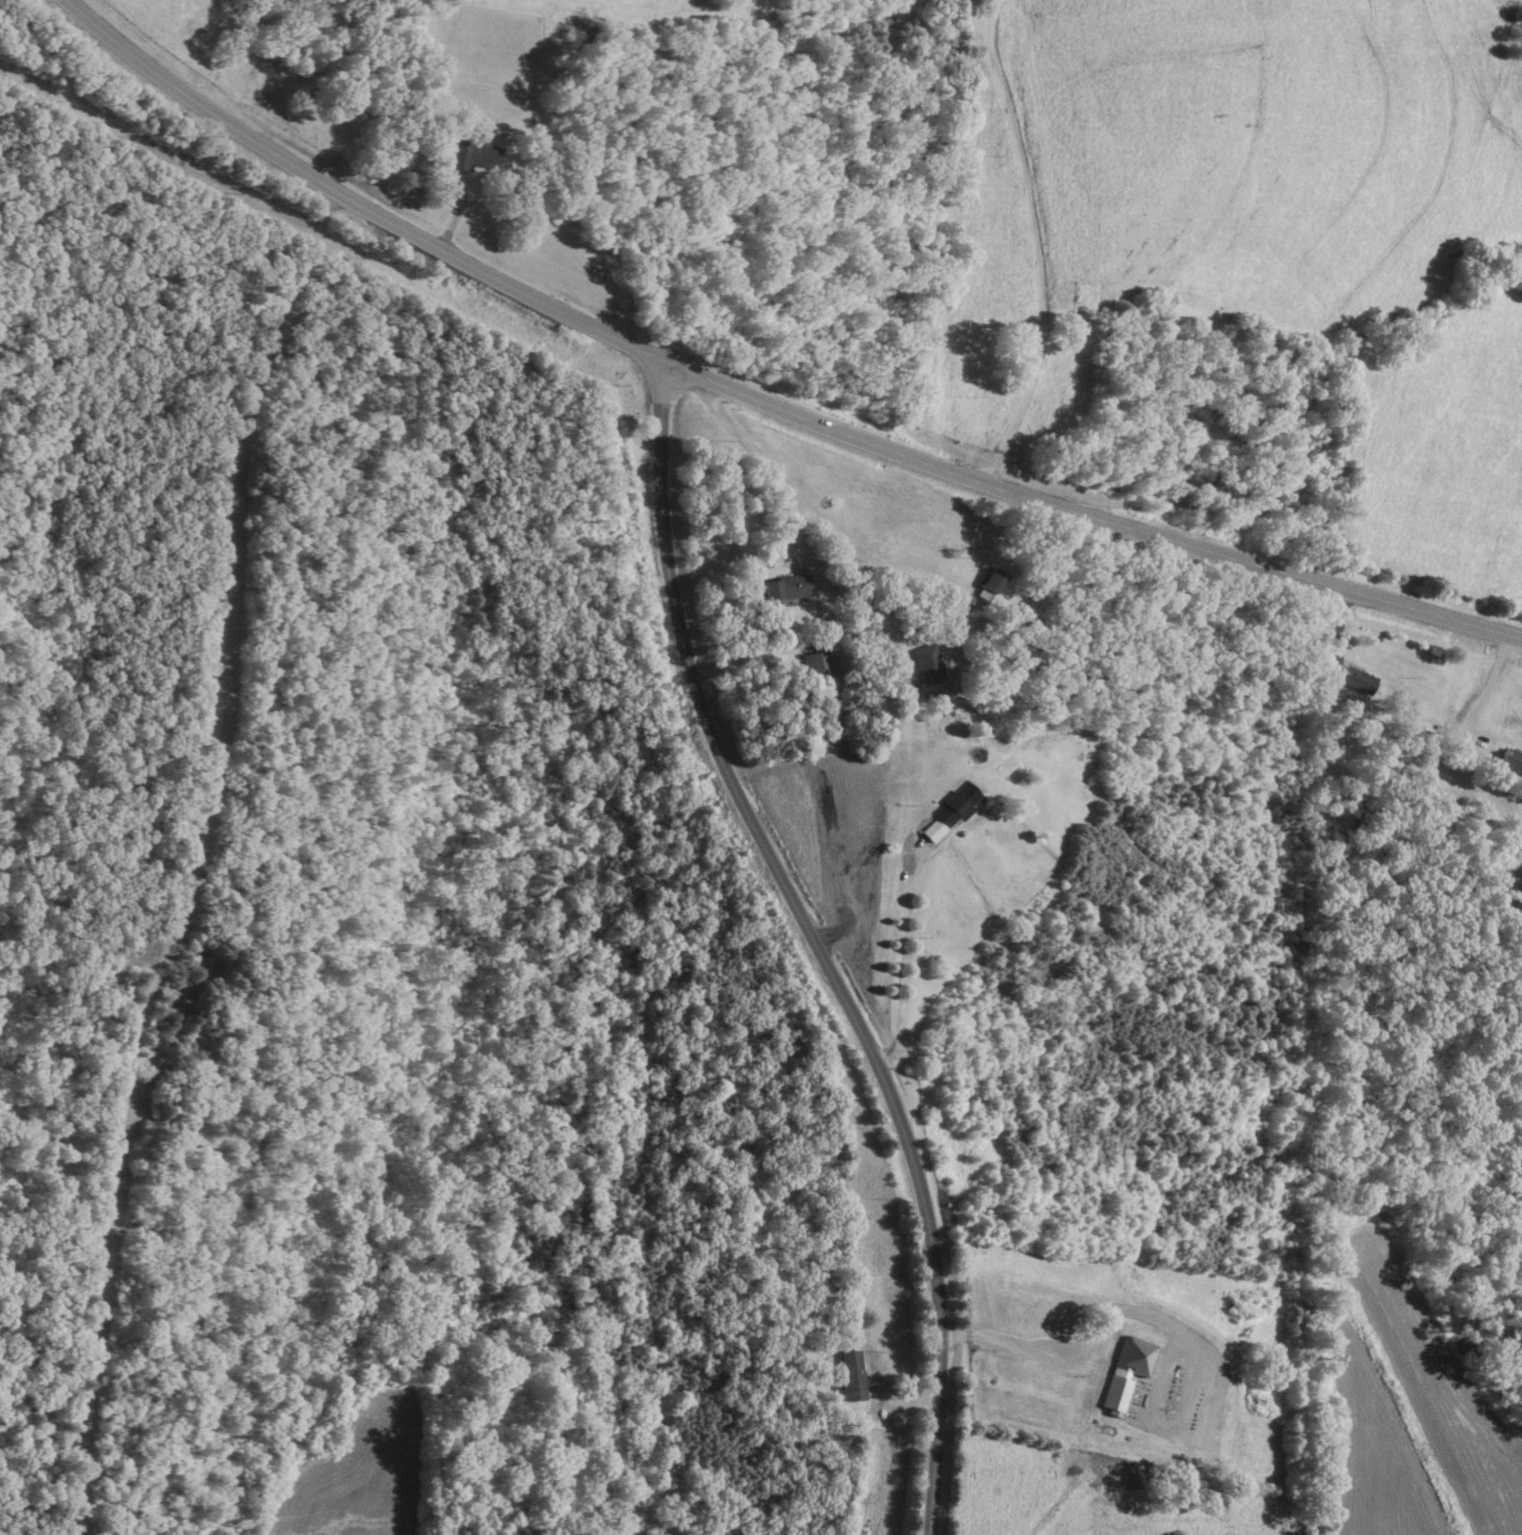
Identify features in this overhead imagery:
road: (61, 81)
building: (473, 154)
road: (1038, 245)
park: (1089, 332)
road: (763, 401)
road: (172, 426)
road: (909, 578)
road: (857, 585)
building: (989, 588)
building: (784, 590)
road: (826, 639)
building: (925, 666)
building: (815, 668)
building: (1355, 683)
building: (1322, 693)
building: (1479, 751)
building: (1509, 764)
building: (948, 813)
road: (816, 943)
road: (898, 963)
road: (1015, 1348)
building: (1126, 1373)
building: (849, 1378)

